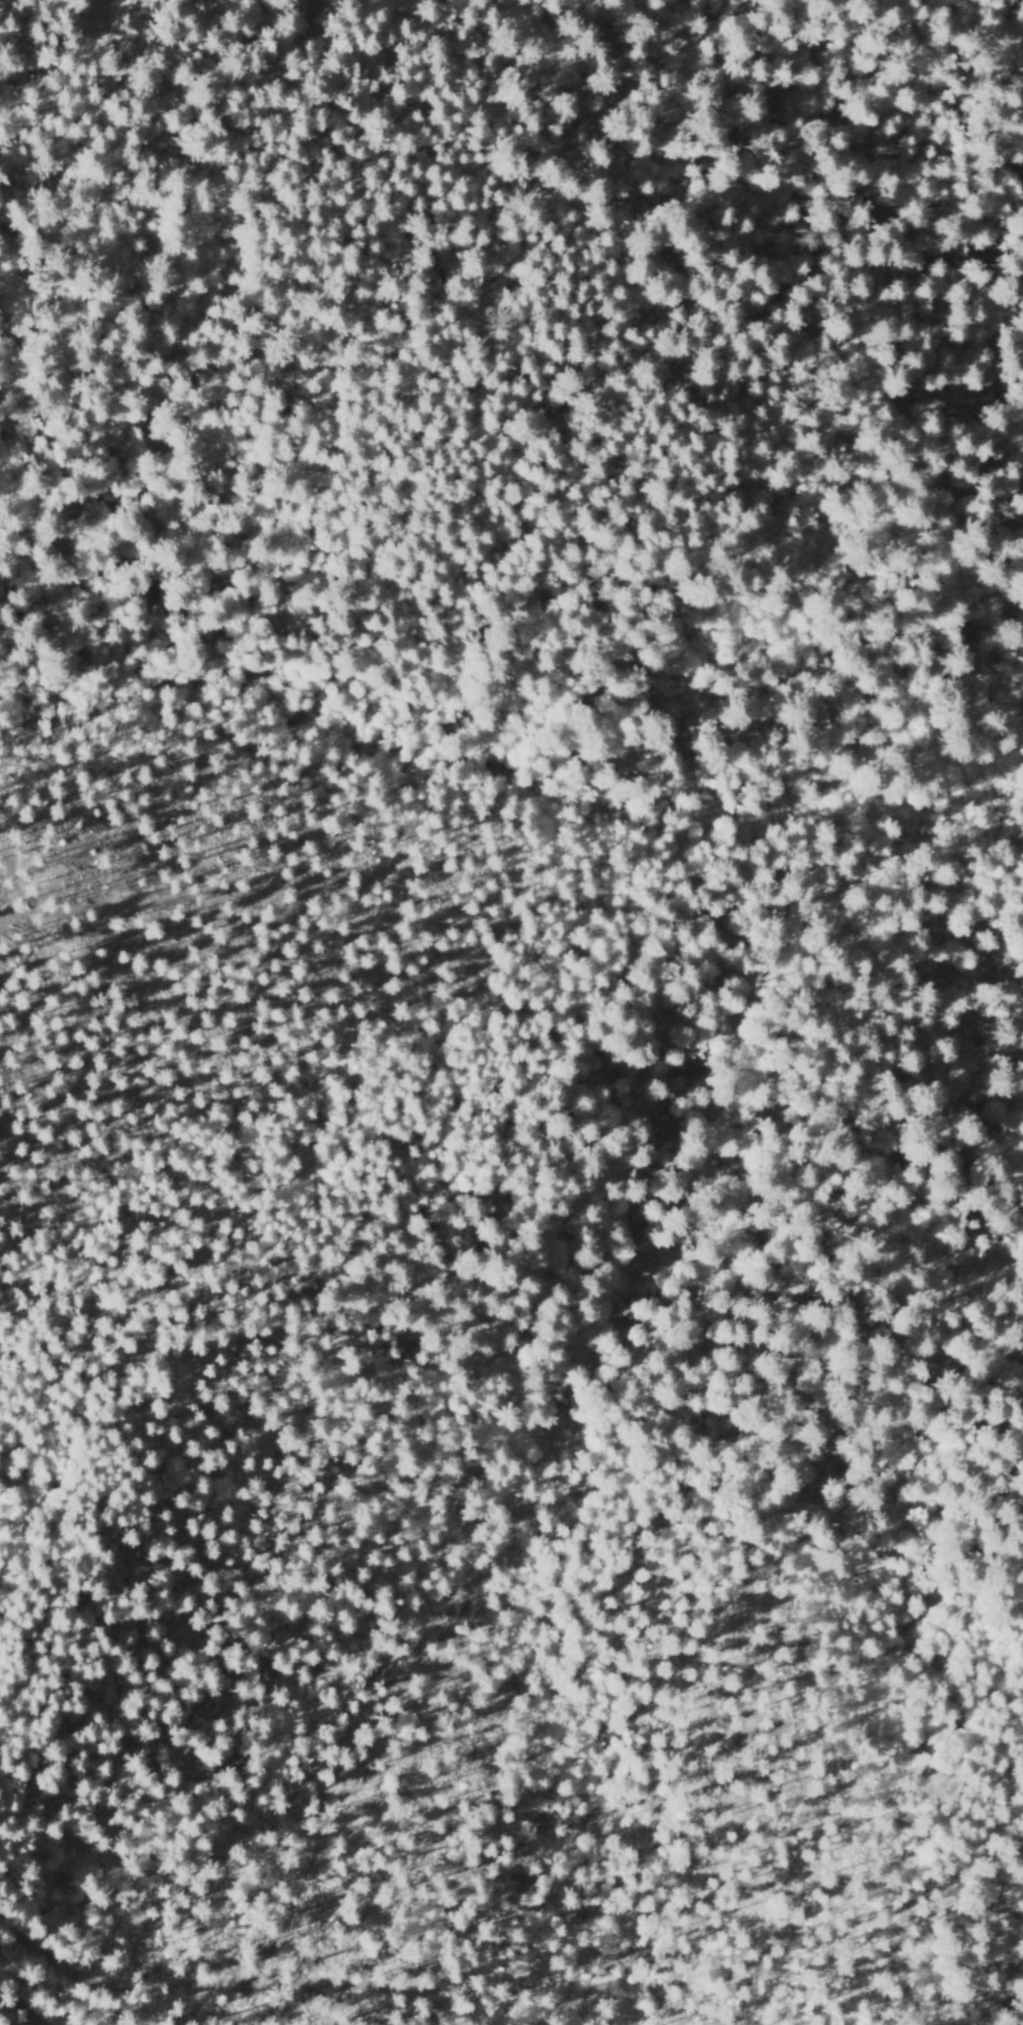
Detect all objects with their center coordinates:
road: (730, 337)
road: (75, 1990)

